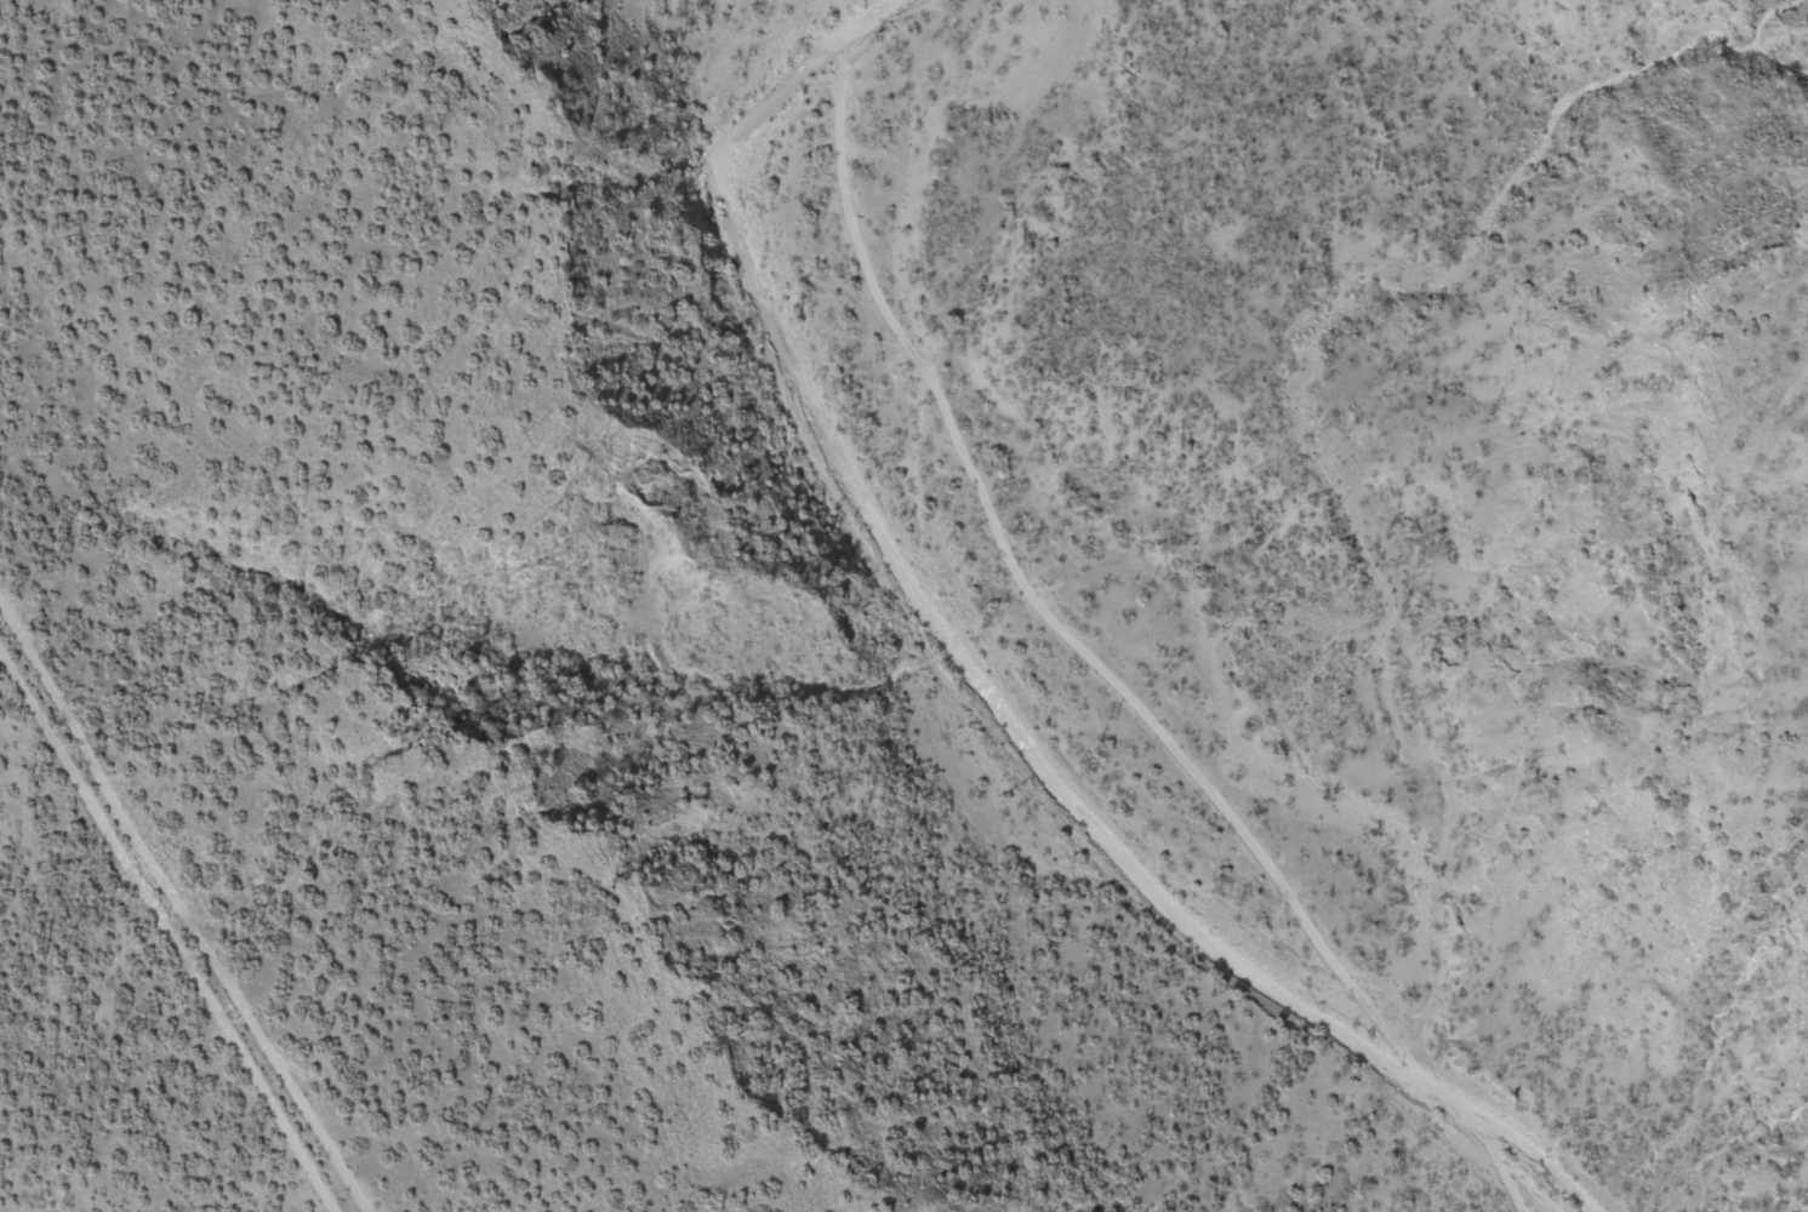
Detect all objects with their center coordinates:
road: (878, 693)

